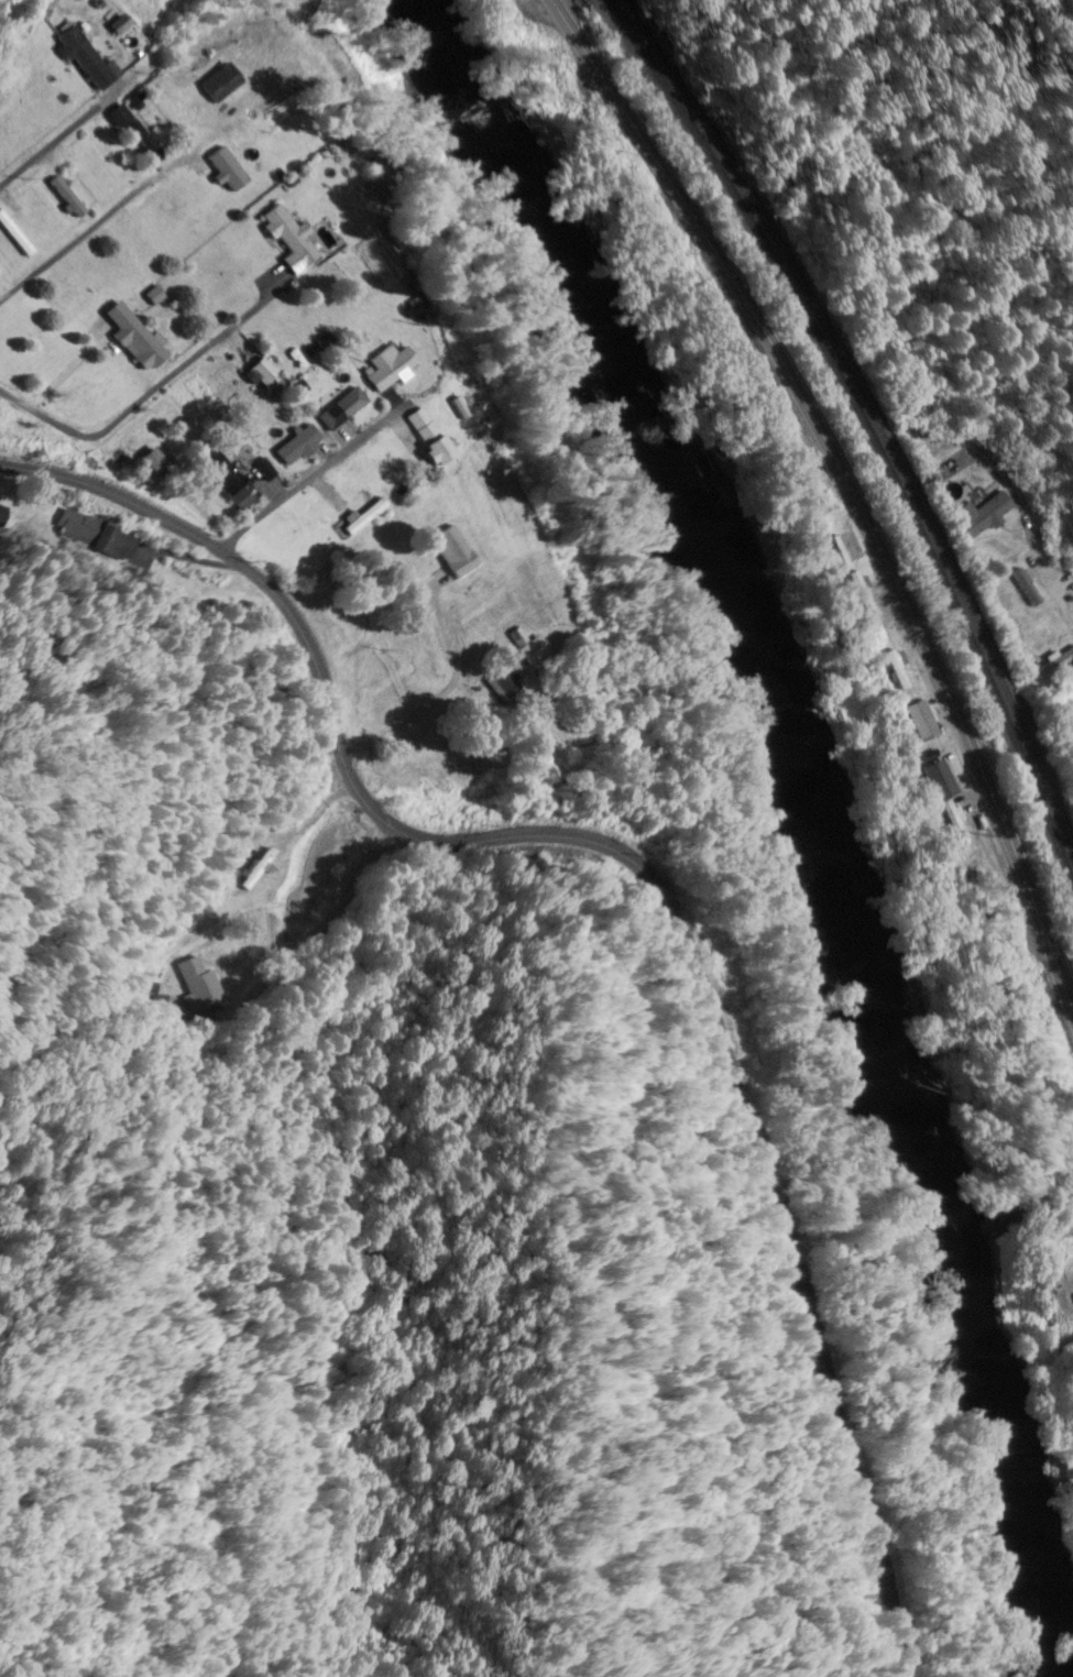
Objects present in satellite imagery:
building: (43, 4)
road: (568, 13)
building: (83, 56)
building: (216, 85)
building: (117, 118)
building: (143, 142)
road: (51, 146)
building: (223, 169)
building: (64, 198)
road: (107, 215)
building: (14, 237)
building: (285, 240)
building: (131, 339)
building: (383, 368)
road: (153, 392)
building: (343, 406)
railway: (873, 420)
building: (424, 438)
building: (295, 446)
road: (311, 478)
building: (227, 482)
road: (848, 486)
building: (1, 515)
building: (979, 516)
building: (360, 518)
building: (846, 548)
building: (449, 551)
road: (1040, 568)
building: (1026, 589)
building: (857, 595)
building: (528, 650)
building: (1053, 665)
building: (893, 668)
building: (911, 721)
road: (402, 728)
building: (1072, 743)
building: (941, 801)
river: (786, 815)
building: (251, 868)
road: (648, 878)
building: (1072, 1295)

